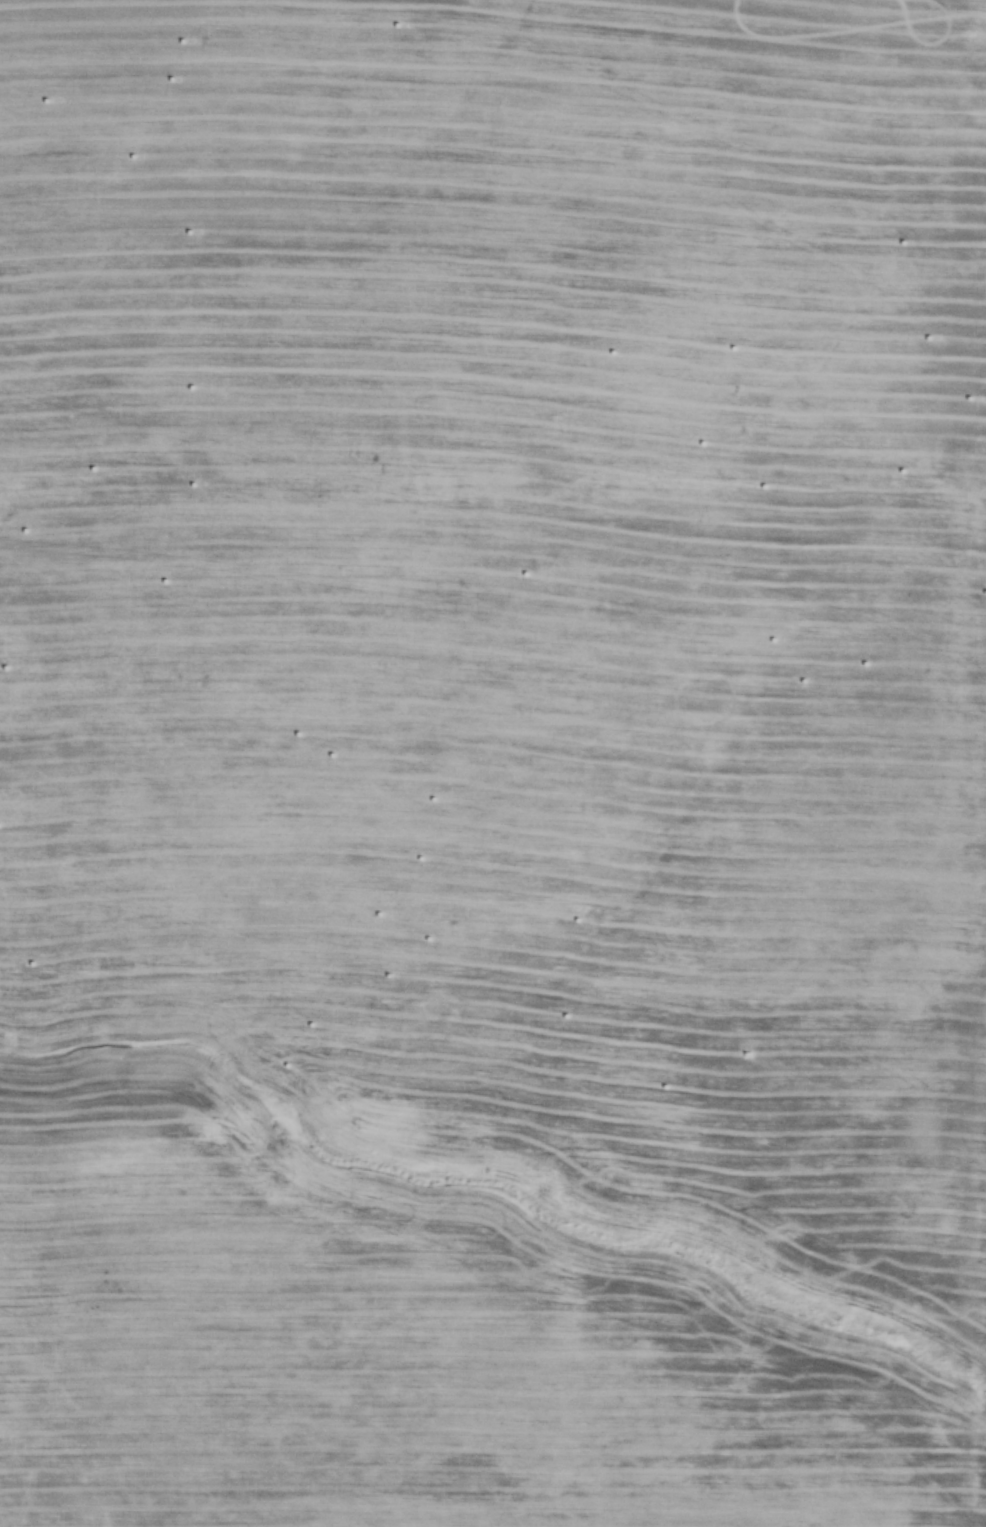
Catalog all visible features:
road: (974, 1209)

